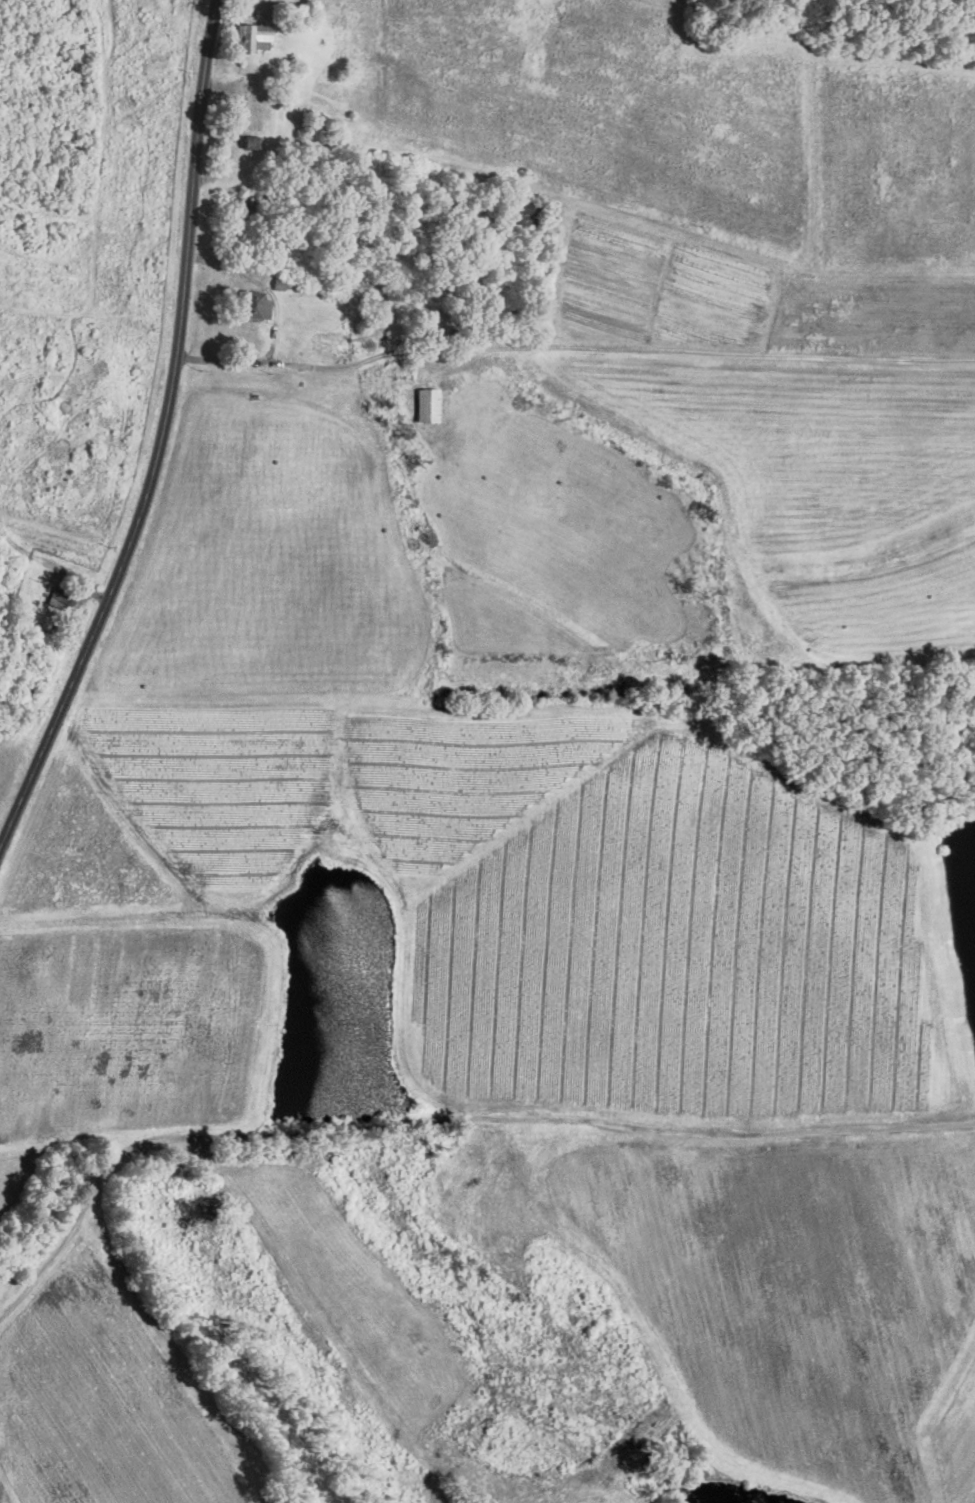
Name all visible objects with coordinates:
building: (251, 37)
building: (250, 142)
building: (253, 303)
road: (325, 368)
building: (427, 403)
road: (160, 439)
road: (77, 1215)

